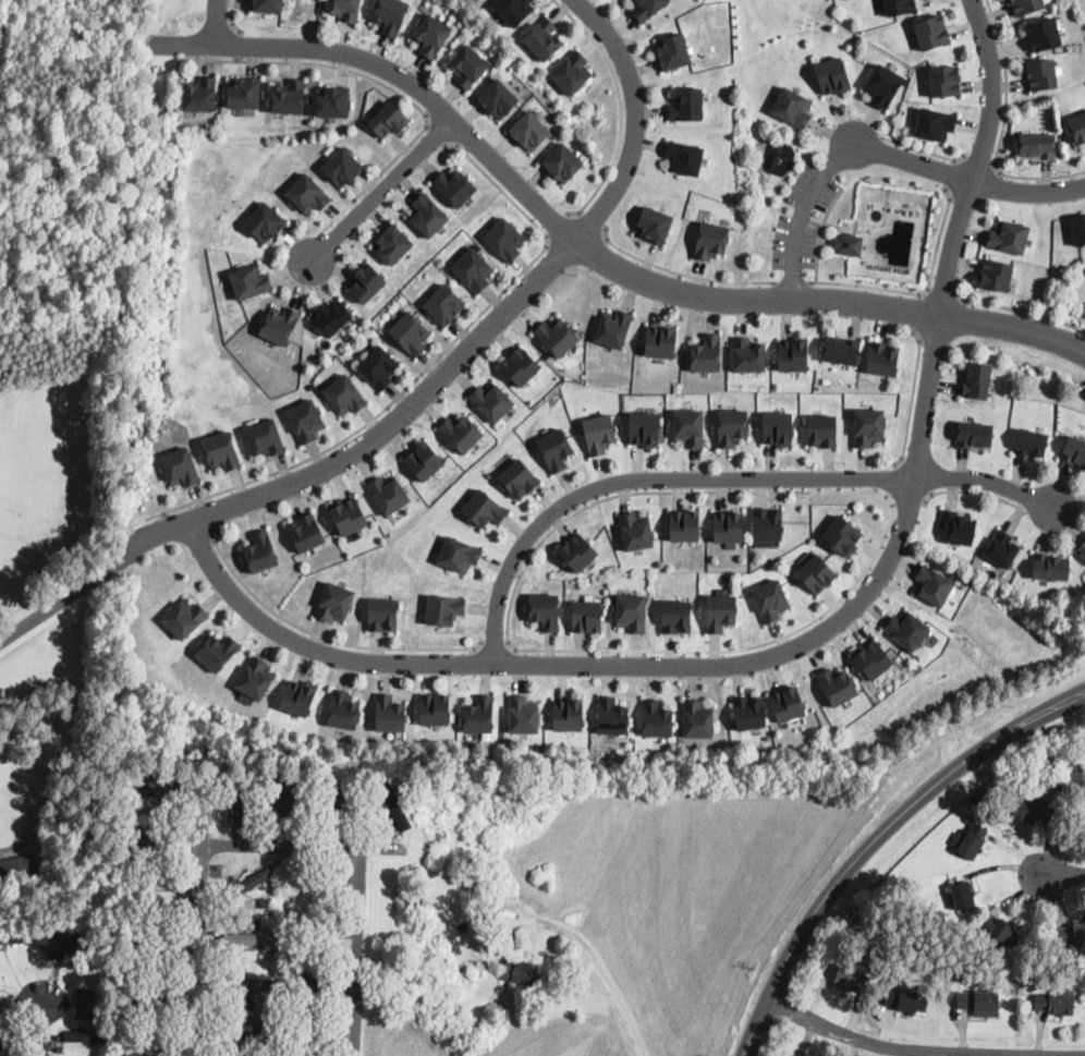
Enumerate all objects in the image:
building: (268, 4)
building: (898, 5)
building: (1026, 5)
building: (647, 8)
building: (344, 9)
building: (514, 10)
building: (390, 15)
road: (231, 17)
road: (216, 21)
building: (931, 31)
building: (431, 34)
building: (1043, 34)
building: (544, 38)
road: (236, 44)
building: (674, 50)
road: (314, 61)
building: (468, 64)
building: (572, 72)
building: (1041, 73)
building: (834, 75)
building: (944, 81)
building: (883, 85)
building: (244, 92)
building: (200, 94)
building: (289, 95)
building: (499, 98)
building: (333, 99)
road: (619, 102)
building: (687, 104)
building: (792, 107)
building: (389, 119)
building: (935, 122)
building: (1076, 126)
road: (1002, 129)
building: (531, 130)
road: (439, 133)
building: (1037, 146)
road: (925, 149)
building: (684, 156)
road: (978, 160)
building: (563, 162)
building: (342, 167)
road: (955, 172)
road: (374, 179)
road: (968, 179)
building: (455, 185)
road: (381, 189)
building: (308, 193)
road: (803, 213)
building: (427, 214)
building: (265, 221)
building: (655, 223)
road: (588, 224)
road: (560, 226)
building: (1078, 229)
road: (819, 232)
road: (939, 235)
building: (1009, 236)
building: (505, 239)
building: (711, 240)
building: (392, 243)
building: (849, 243)
road: (585, 246)
building: (474, 269)
road: (680, 272)
building: (997, 275)
building: (251, 280)
building: (367, 281)
road: (793, 281)
road: (868, 286)
road: (944, 294)
building: (444, 304)
road: (1017, 308)
road: (917, 311)
building: (331, 316)
building: (281, 324)
building: (614, 328)
building: (411, 332)
building: (557, 335)
road: (476, 340)
building: (661, 340)
building: (840, 350)
building: (707, 352)
building: (748, 353)
building: (793, 353)
building: (883, 356)
building: (522, 364)
building: (379, 366)
road: (426, 367)
building: (976, 380)
building: (345, 395)
road: (912, 398)
building: (491, 400)
building: (306, 420)
building: (688, 426)
building: (732, 426)
building: (868, 426)
building: (778, 427)
building: (645, 428)
building: (822, 430)
building: (462, 432)
building: (600, 433)
building: (975, 436)
building: (265, 437)
building: (1032, 444)
building: (556, 448)
building: (222, 450)
building: (1074, 452)
building: (424, 460)
building: (181, 466)
building: (519, 477)
road: (718, 477)
road: (894, 478)
road: (972, 490)
building: (388, 493)
road: (909, 499)
building: (485, 508)
building: (349, 514)
road: (207, 515)
building: (685, 524)
building: (767, 524)
building: (730, 525)
building: (956, 529)
building: (636, 530)
building: (307, 532)
building: (843, 534)
building: (1002, 549)
building: (1082, 550)
building: (260, 551)
building: (578, 551)
building: (459, 553)
building: (1051, 568)
building: (817, 573)
building: (934, 584)
road: (63, 598)
building: (771, 599)
building: (334, 602)
building: (446, 608)
building: (546, 609)
building: (631, 611)
building: (721, 611)
building: (383, 614)
building: (676, 616)
building: (185, 617)
building: (587, 617)
building: (907, 629)
road: (325, 636)
road: (810, 638)
road: (509, 640)
road: (495, 643)
building: (218, 651)
building: (873, 658)
building: (256, 678)
building: (838, 685)
building: (298, 696)
building: (788, 703)
building: (435, 708)
building: (343, 709)
building: (749, 711)
building: (390, 713)
building: (479, 714)
building: (523, 714)
building: (569, 714)
building: (613, 715)
building: (657, 717)
building: (697, 718)
building: (818, 738)
building: (272, 767)
building: (249, 775)
building: (131, 778)
building: (160, 792)
building: (271, 797)
building: (239, 800)
building: (290, 801)
building: (342, 804)
building: (394, 804)
building: (1026, 811)
building: (1083, 817)
building: (970, 820)
road: (879, 840)
building: (972, 841)
building: (47, 842)
building: (155, 843)
building: (17, 867)
road: (363, 875)
road: (1064, 875)
building: (471, 879)
building: (138, 882)
building: (251, 882)
building: (316, 883)
building: (154, 895)
building: (297, 895)
building: (962, 897)
building: (416, 900)
building: (264, 902)
building: (272, 905)
building: (314, 930)
building: (1001, 932)
building: (1071, 936)
building: (58, 937)
building: (4, 939)
building: (249, 939)
building: (151, 947)
road: (205, 952)
building: (273, 955)
road: (595, 962)
building: (479, 968)
building: (521, 972)
building: (851, 981)
building: (246, 985)
building: (307, 986)
building: (153, 998)
building: (906, 1000)
building: (86, 1003)
building: (979, 1003)
building: (1054, 1004)
road: (45, 1020)
building: (263, 1022)
building: (242, 1034)
building: (89, 1036)
building: (309, 1040)
building: (1, 1042)
building: (148, 1051)
road: (923, 1051)
building: (101, 1055)

